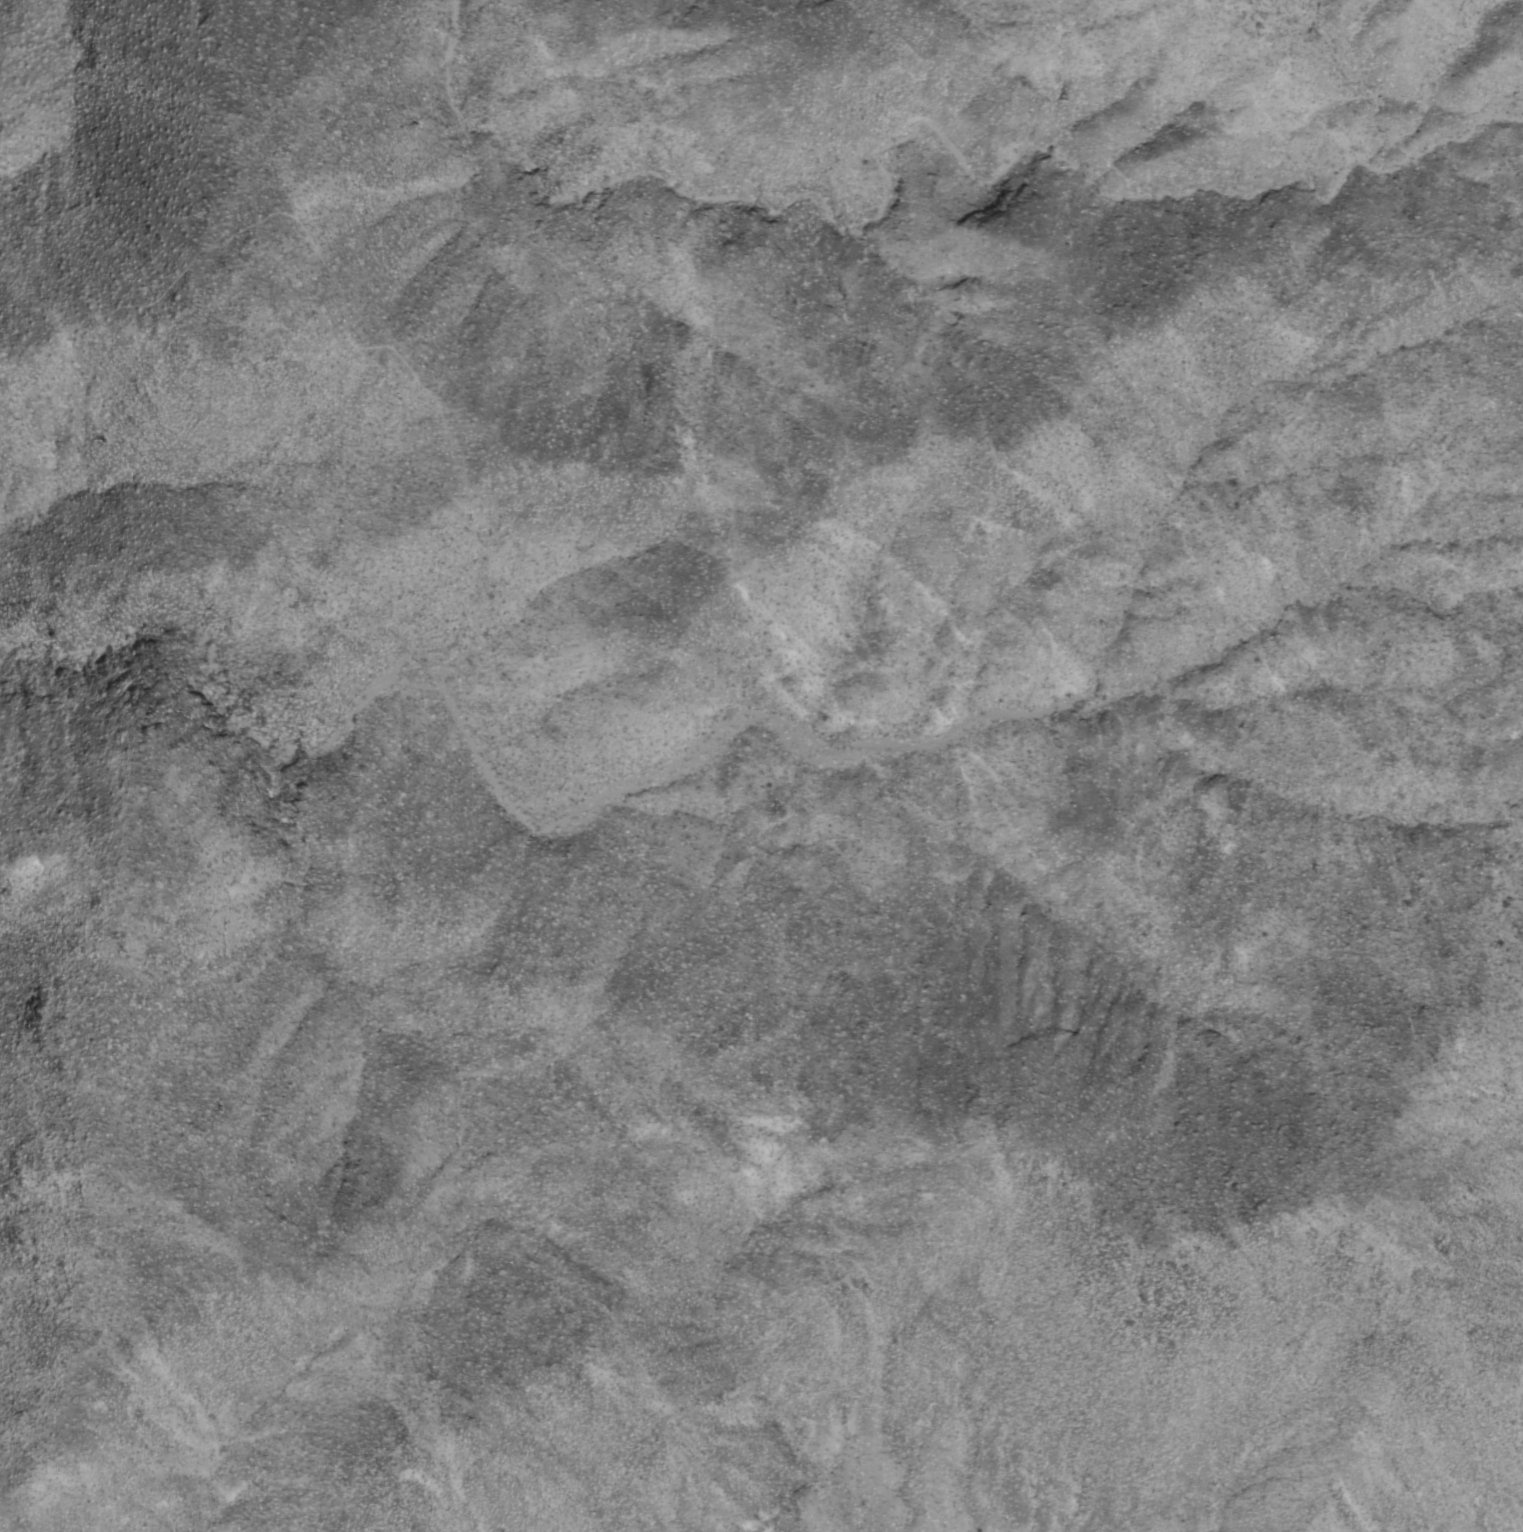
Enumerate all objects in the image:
road: (1520, 345)
road: (728, 552)

